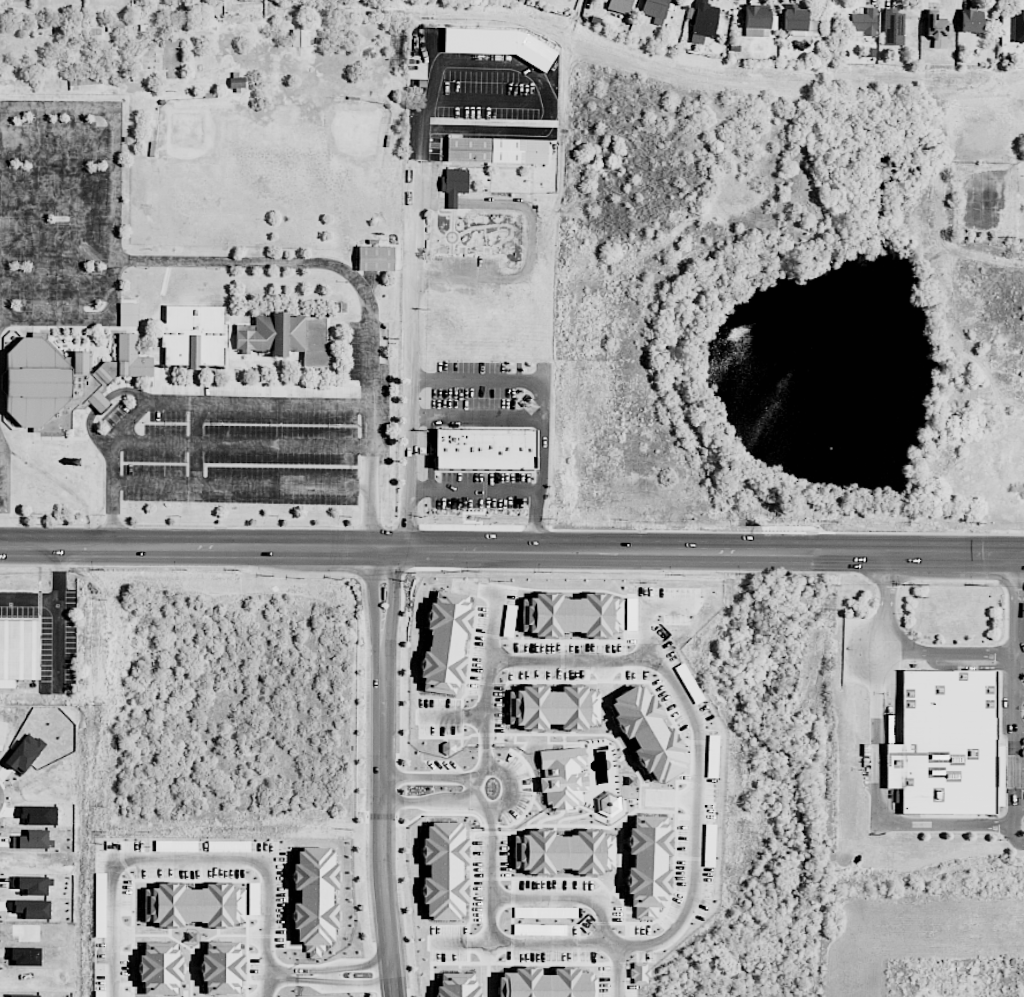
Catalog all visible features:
building: (620, 6)
building: (656, 10)
building: (703, 21)
building: (756, 21)
building: (971, 21)
building: (799, 22)
building: (864, 23)
building: (893, 27)
building: (1018, 27)
building: (936, 30)
building: (299, 38)
building: (172, 54)
building: (237, 83)
road: (114, 109)
building: (496, 151)
building: (454, 184)
road: (418, 199)
parking lot: (61, 212)
road: (40, 213)
road: (77, 214)
building: (375, 259)
road: (456, 277)
road: (363, 289)
road: (2, 321)
building: (195, 336)
building: (286, 339)
road: (476, 377)
building: (61, 380)
road: (179, 401)
road: (99, 405)
road: (476, 418)
parking lot: (261, 436)
road: (196, 443)
road: (242, 443)
building: (484, 448)
road: (3, 461)
road: (241, 485)
road: (474, 490)
road: (3, 513)
road: (511, 549)
road: (55, 598)
road: (376, 599)
road: (396, 599)
road: (1017, 608)
building: (571, 615)
road: (645, 616)
road: (496, 631)
building: (445, 643)
building: (19, 649)
road: (902, 650)
road: (1020, 663)
road: (688, 705)
building: (553, 708)
road: (456, 717)
building: (648, 734)
building: (945, 743)
road: (1016, 755)
road: (507, 775)
building: (563, 777)
road: (428, 779)
road: (430, 799)
road: (878, 800)
road: (384, 823)
building: (563, 852)
road: (179, 858)
building: (648, 866)
building: (444, 871)
building: (315, 899)
road: (529, 901)
road: (486, 941)
road: (546, 944)
building: (161, 967)
building: (223, 969)
building: (639, 972)
road: (326, 975)
road: (287, 976)
building: (546, 984)
building: (456, 986)

